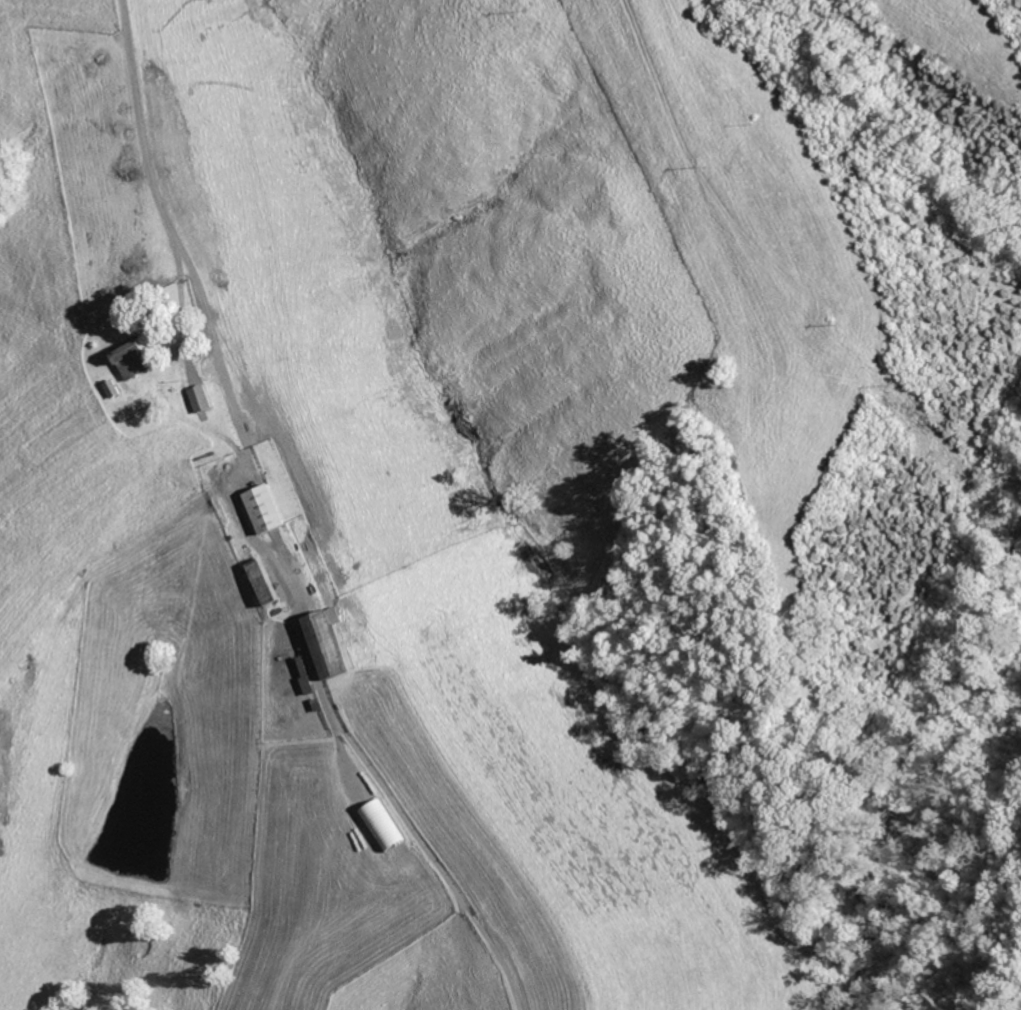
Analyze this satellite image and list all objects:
building: (135, 359)
building: (204, 398)
building: (270, 508)
road: (213, 544)
building: (266, 581)
building: (334, 643)
building: (383, 826)

